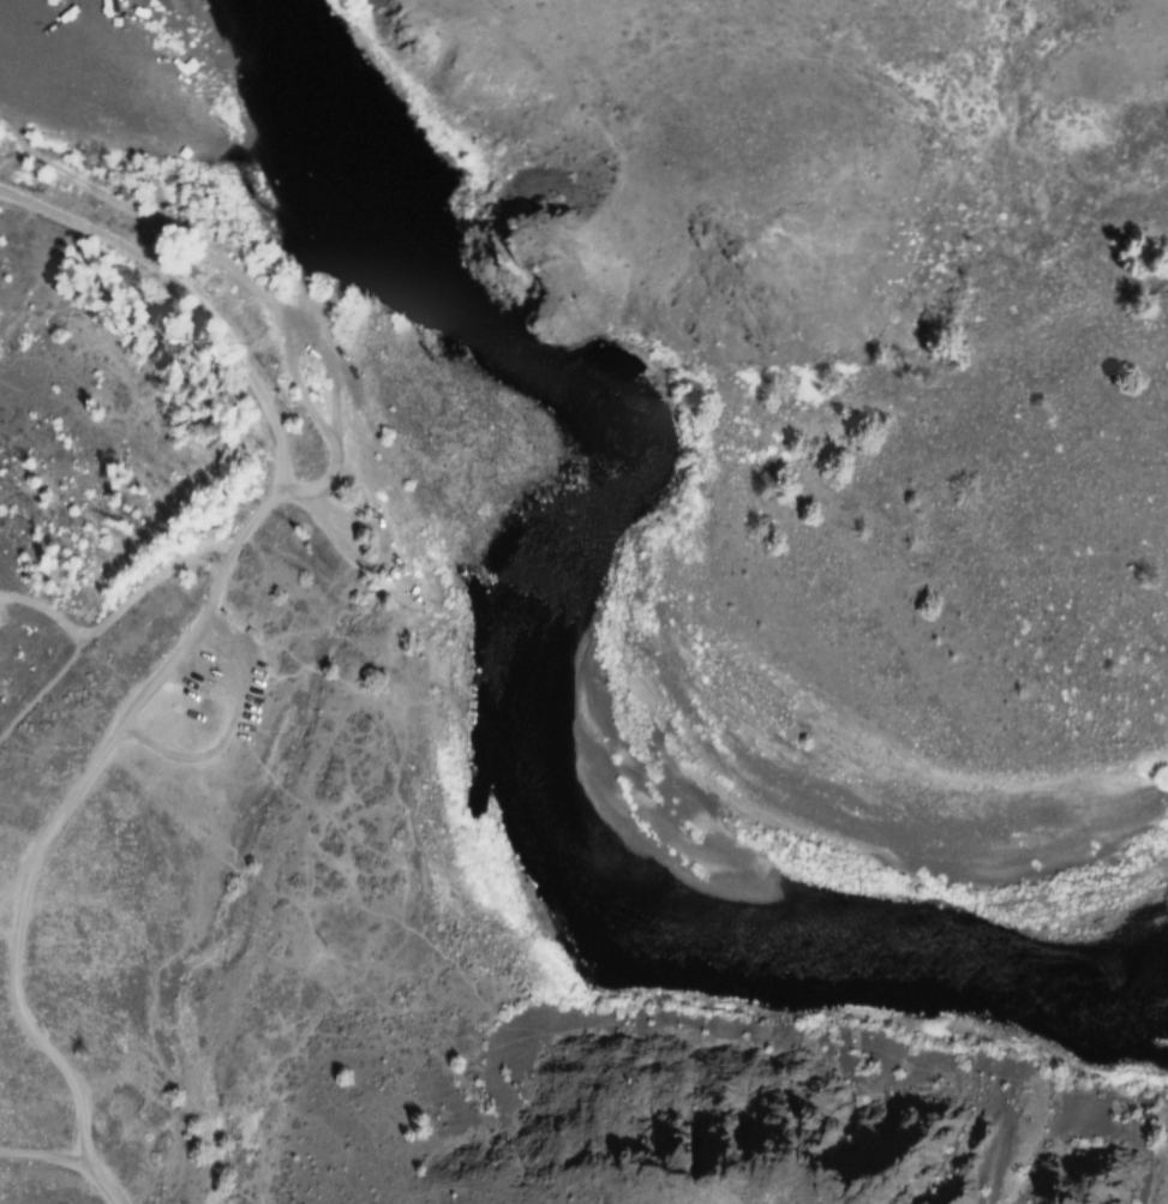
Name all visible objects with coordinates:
road: (301, 287)
road: (191, 299)
road: (327, 480)
parking lot: (212, 664)
river: (528, 685)
road: (23, 1014)
road: (67, 1158)

